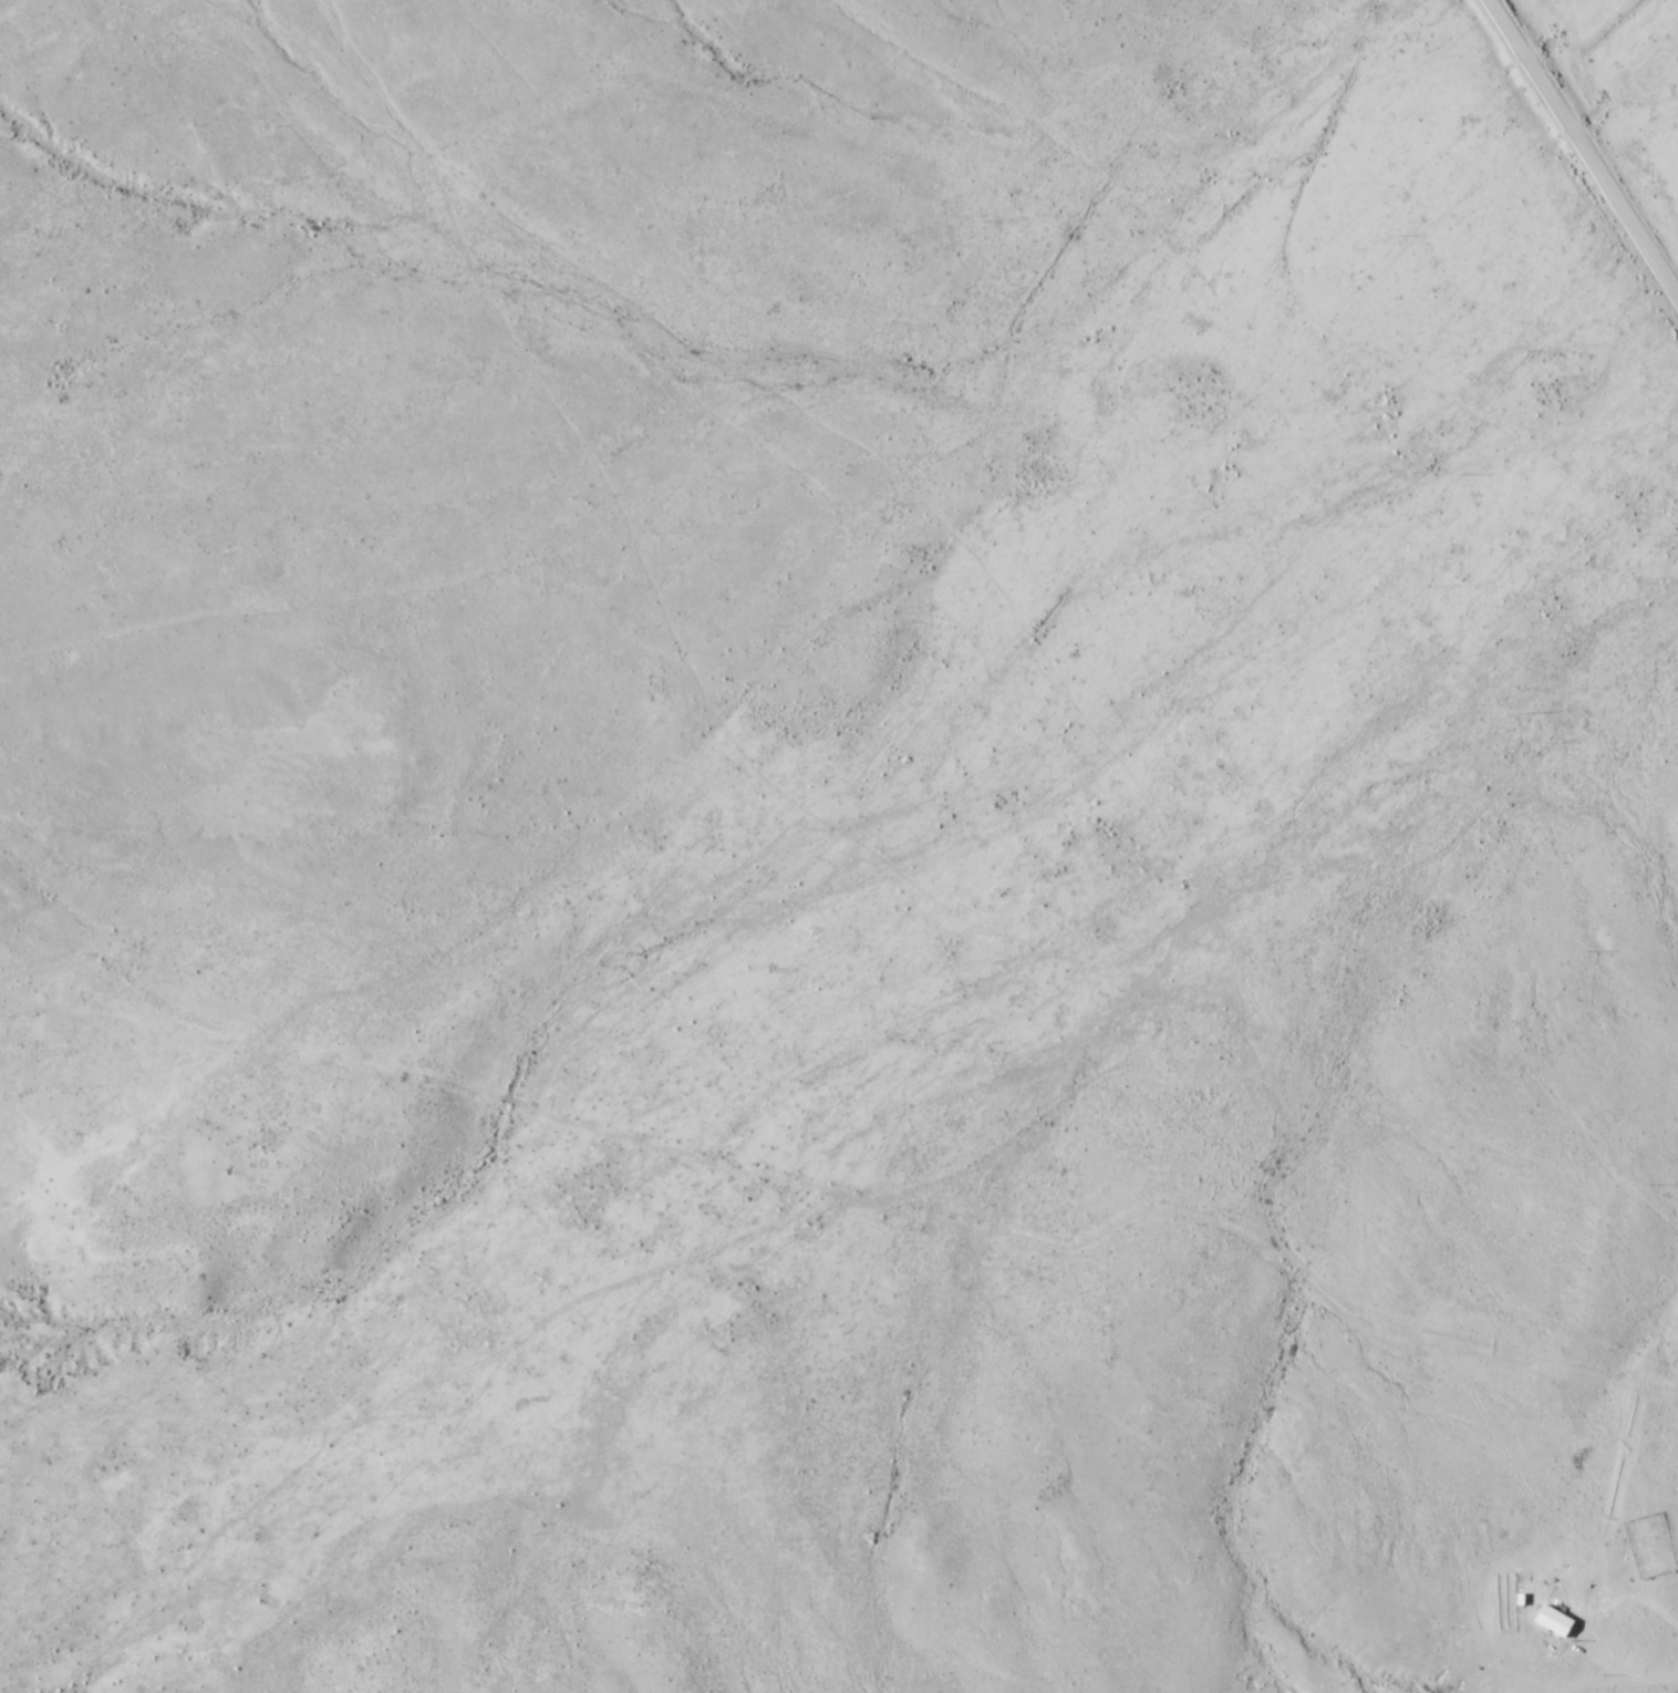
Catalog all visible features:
road: (1582, 151)
road: (1187, 334)

